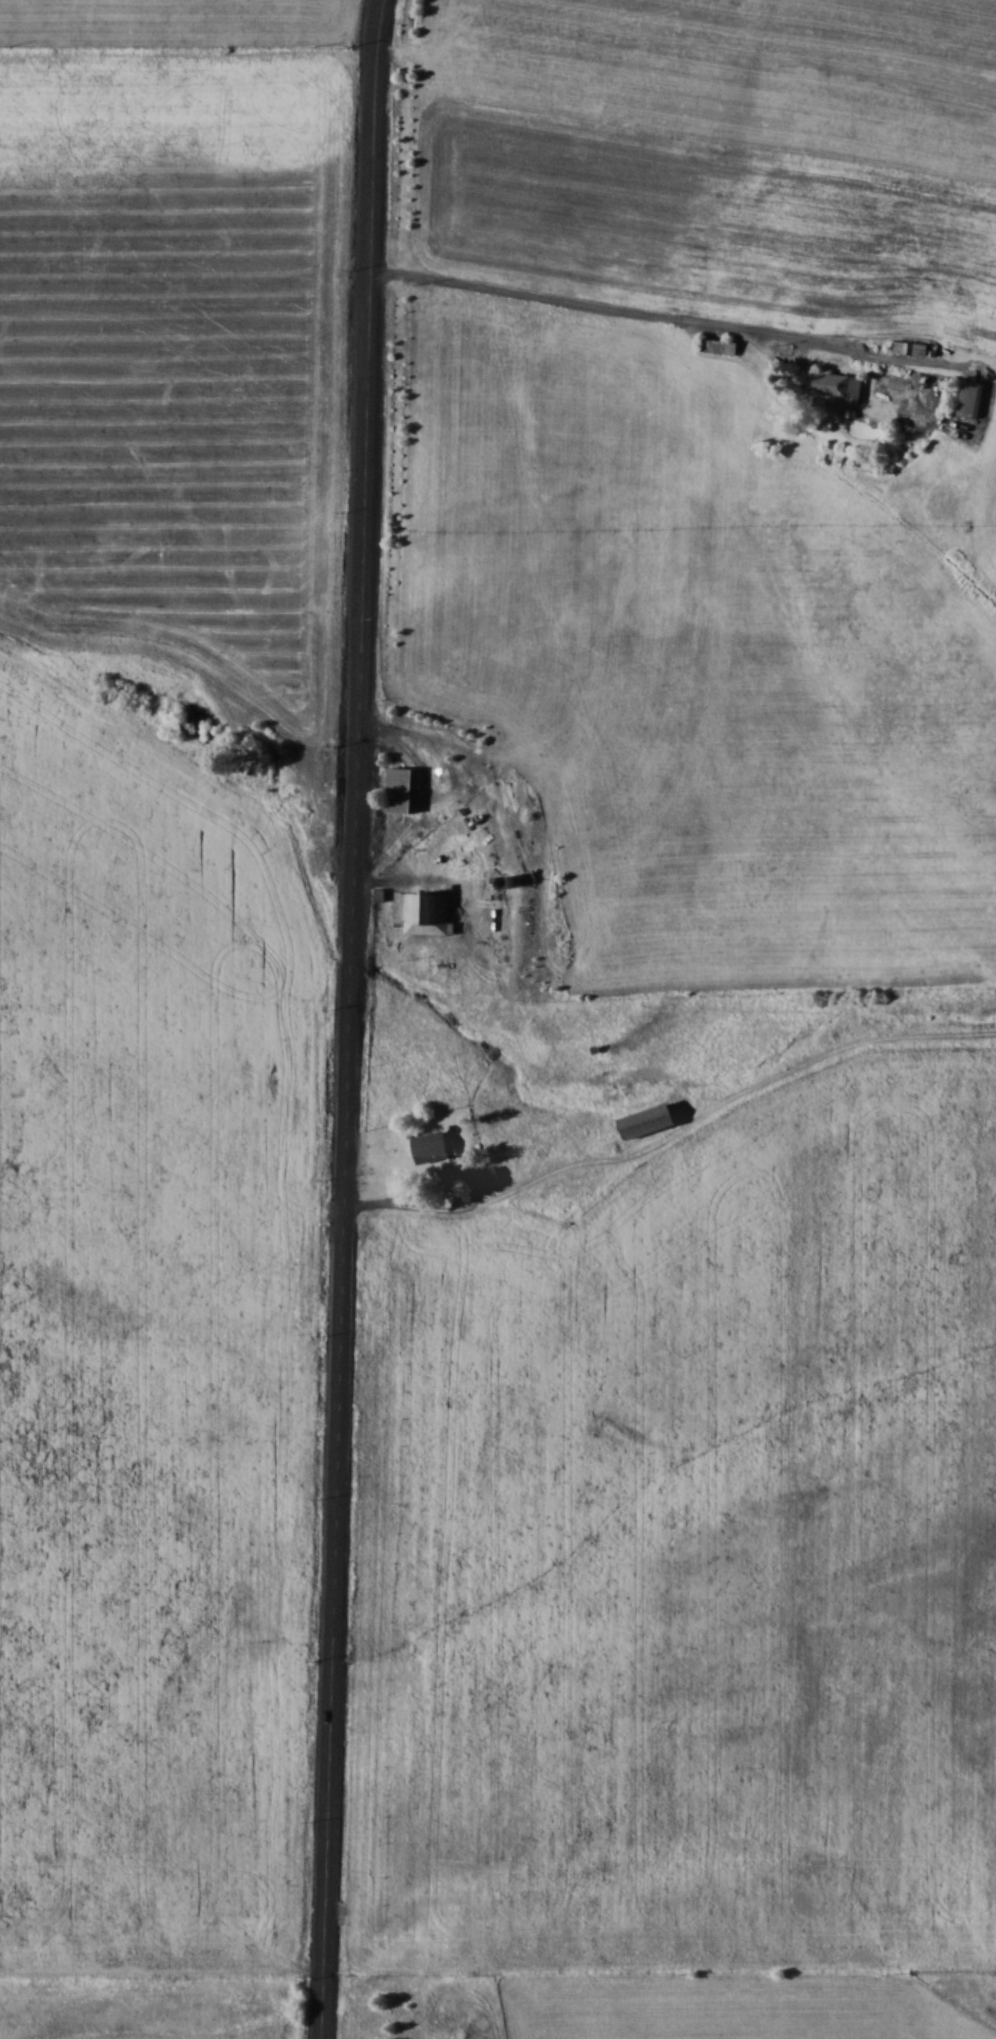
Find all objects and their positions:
road: (615, 306)
building: (721, 346)
building: (911, 348)
building: (840, 385)
building: (972, 401)
building: (400, 789)
building: (429, 913)
road: (349, 1019)
road: (734, 1105)
building: (649, 1122)
building: (432, 1148)
road: (421, 1210)
building: (376, 1313)

